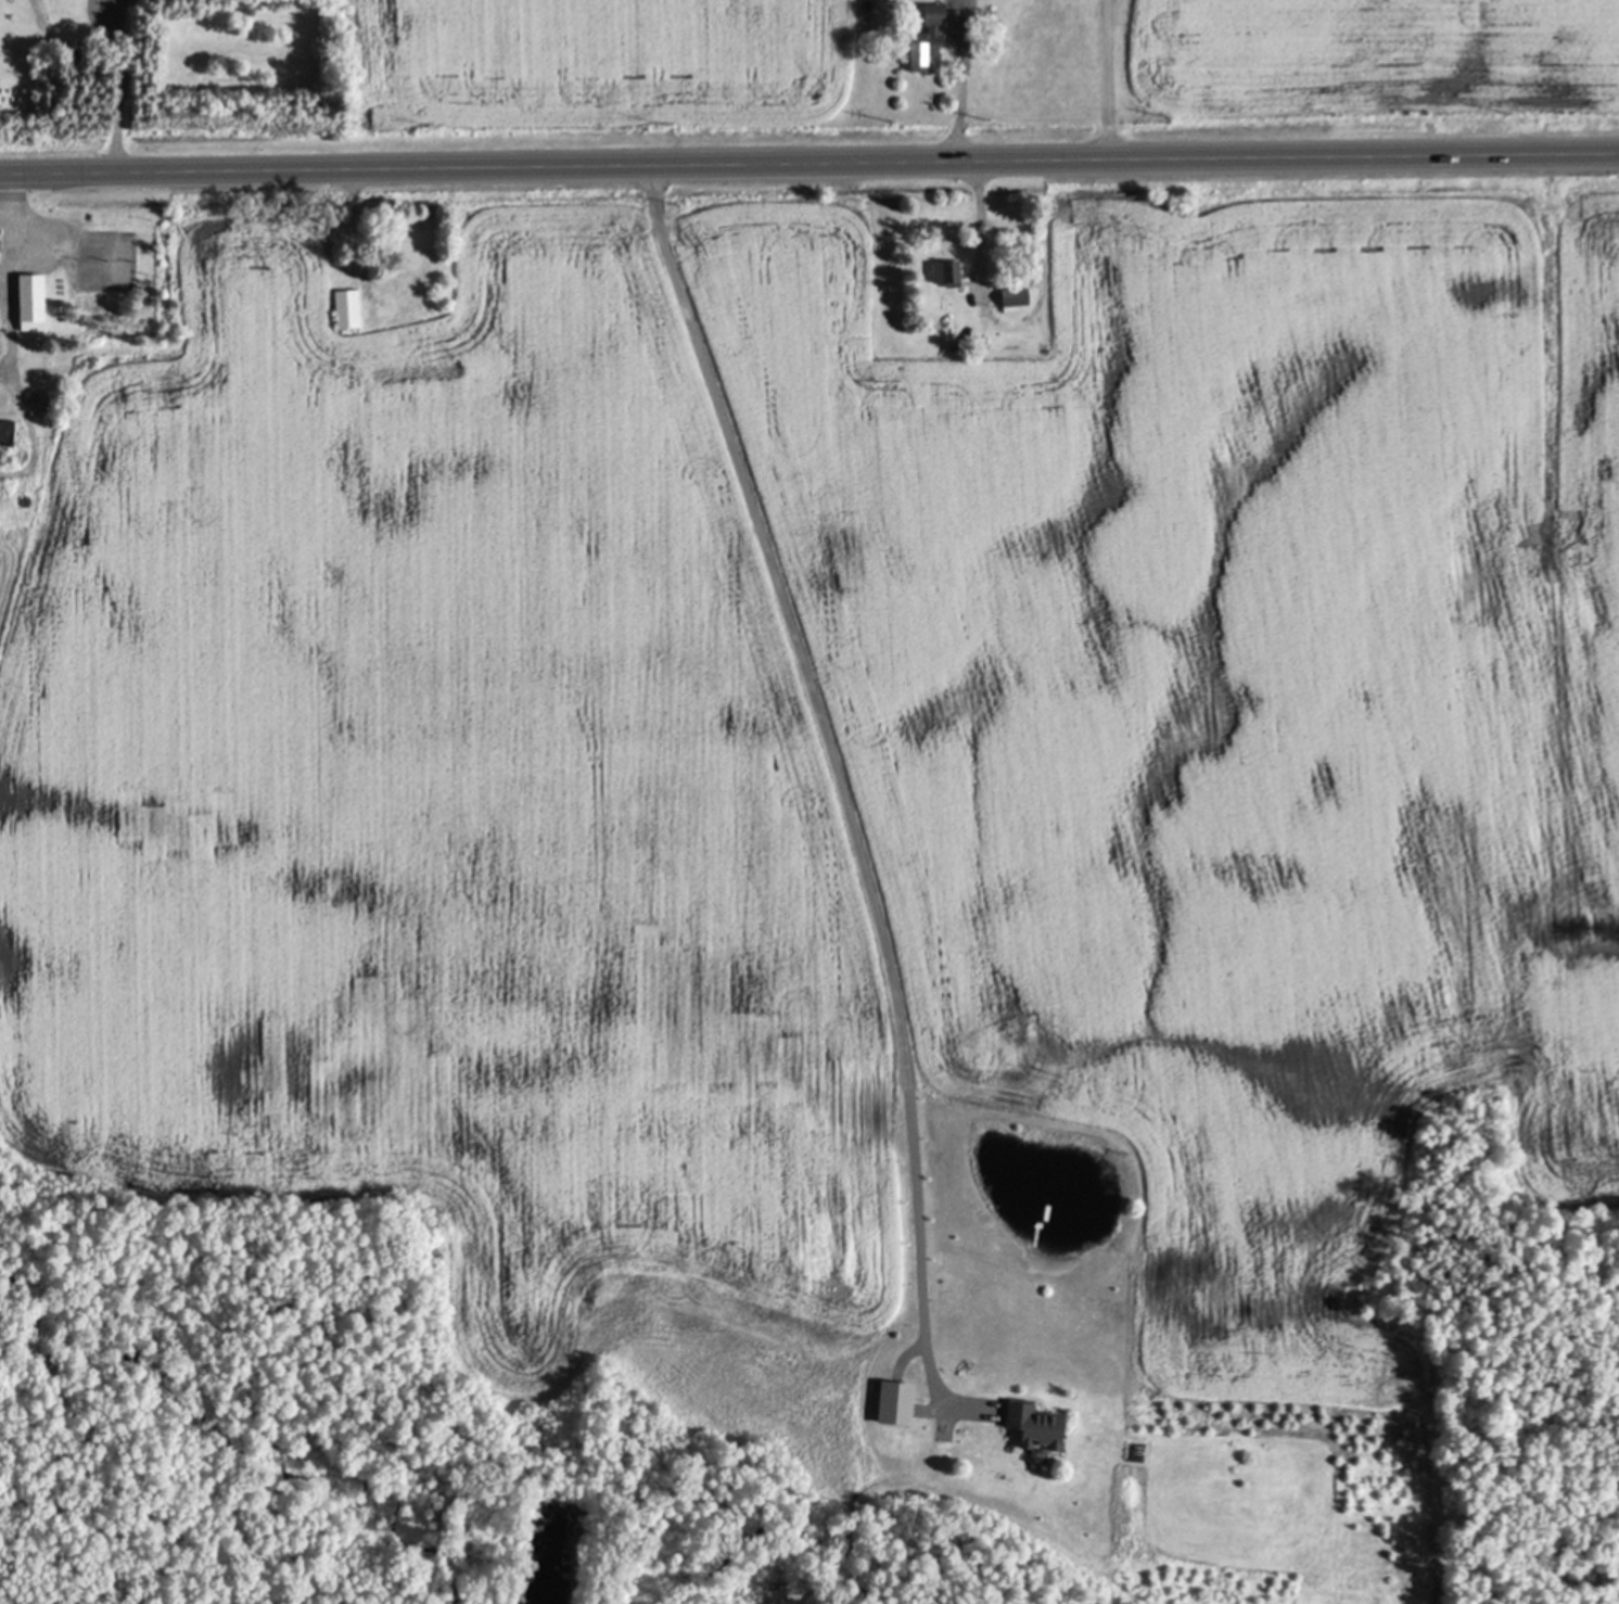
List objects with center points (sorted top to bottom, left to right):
building: (926, 35)
power tower: (1496, 109)
power tower: (1328, 112)
power tower: (1163, 113)
power tower: (879, 116)
power tower: (982, 116)
power tower: (653, 119)
power tower: (430, 122)
power tower: (204, 126)
road: (809, 166)
building: (947, 270)
building: (1014, 295)
building: (31, 298)
building: (347, 305)
building: (7, 429)
building: (2, 454)
road: (831, 750)
building: (895, 1399)
building: (1034, 1422)

